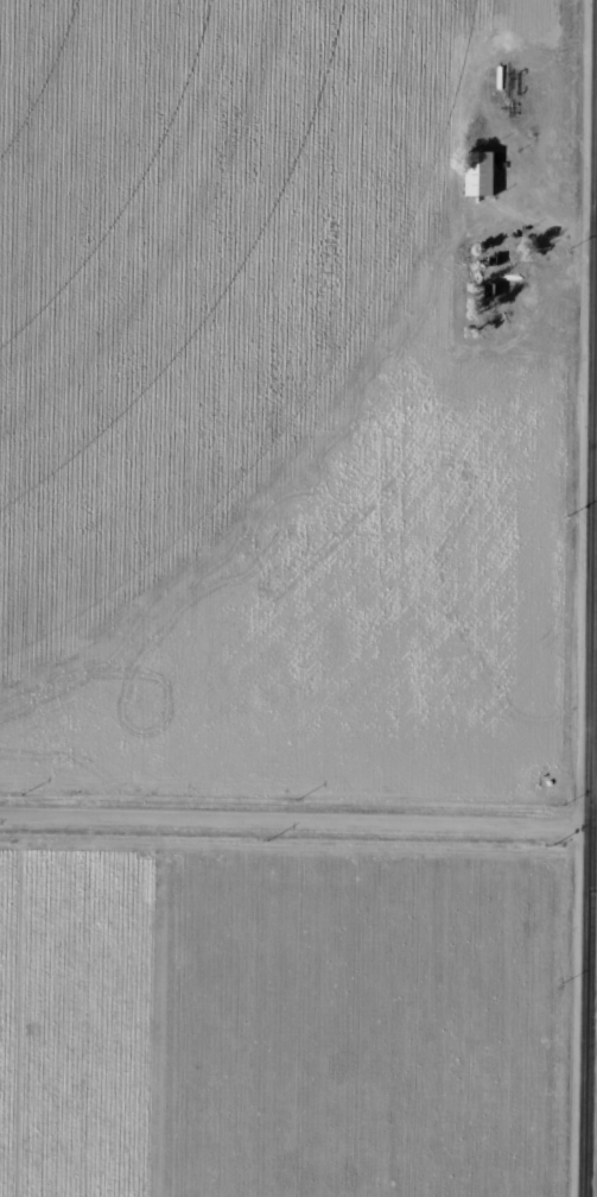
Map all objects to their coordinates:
building: (481, 172)
road: (574, 836)
road: (286, 852)

